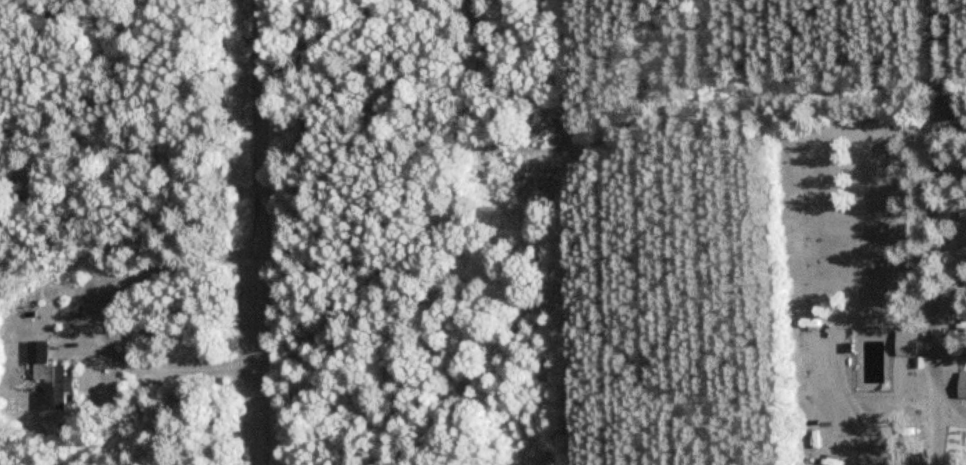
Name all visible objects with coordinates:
road: (916, 67)
road: (910, 139)
building: (961, 214)
road: (261, 232)
road: (925, 300)
road: (862, 317)
road: (88, 325)
building: (45, 376)
building: (960, 388)
building: (962, 449)

